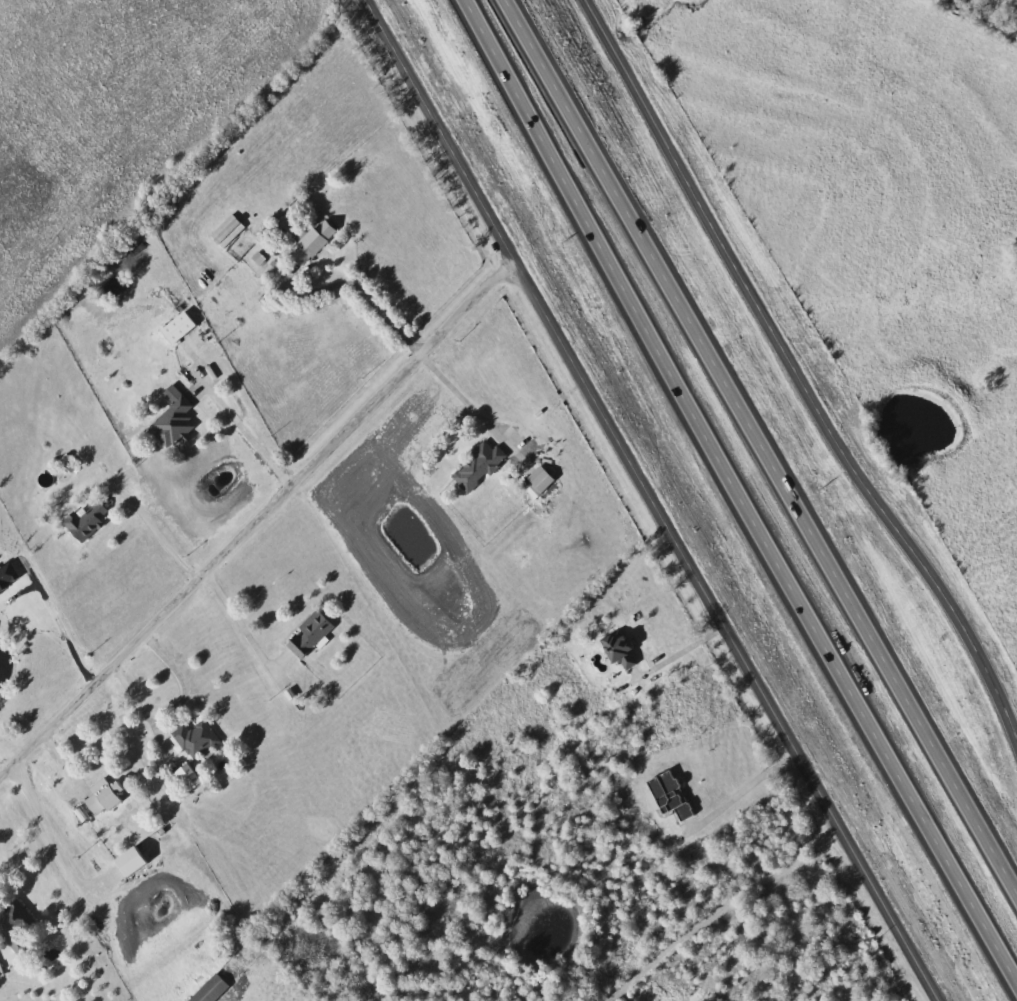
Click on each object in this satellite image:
building: (223, 231)
building: (305, 242)
road: (360, 291)
road: (798, 369)
road: (463, 398)
building: (169, 417)
road: (248, 435)
road: (761, 442)
building: (474, 466)
building: (536, 478)
road: (738, 490)
road: (655, 500)
building: (81, 520)
road: (259, 520)
road: (161, 542)
road: (245, 625)
road: (61, 634)
building: (306, 634)
road: (687, 650)
building: (619, 651)
road: (182, 680)
road: (145, 713)
building: (192, 738)
road: (64, 759)
building: (182, 778)
road: (743, 791)
building: (665, 794)
building: (97, 801)
road: (54, 837)
road: (722, 908)
building: (13, 929)
building: (0, 973)
building: (209, 990)

